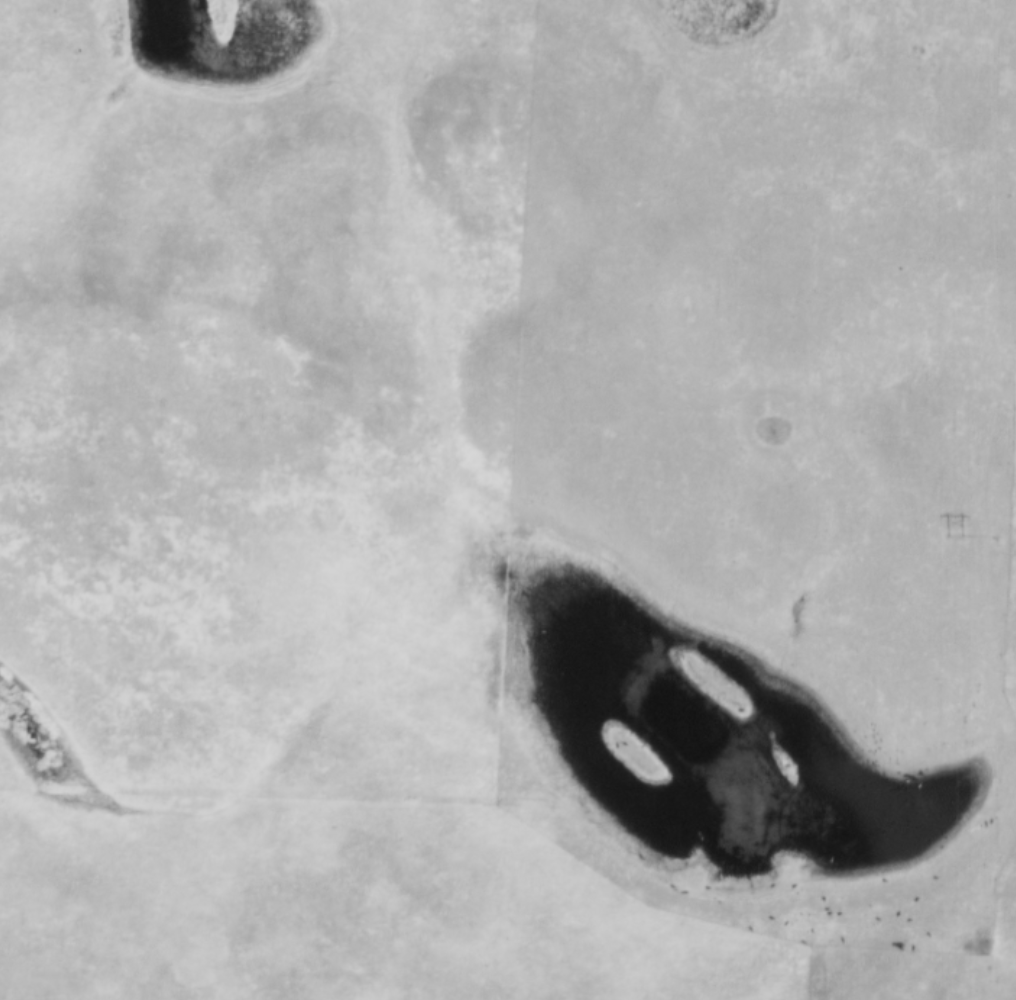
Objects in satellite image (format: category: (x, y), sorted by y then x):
power tower: (954, 536)

